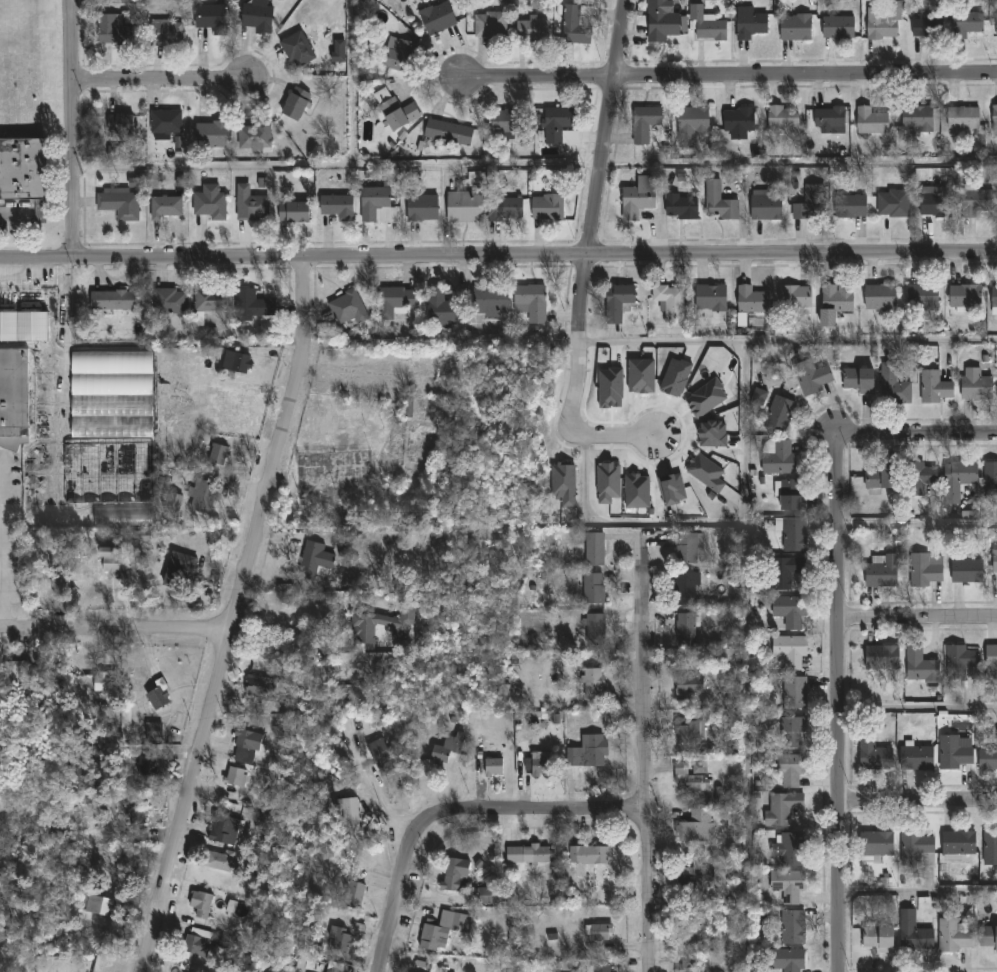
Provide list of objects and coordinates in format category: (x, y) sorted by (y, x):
building: (128, 1)
building: (256, 18)
building: (436, 18)
building: (210, 20)
building: (660, 21)
building: (883, 22)
building: (748, 24)
building: (966, 24)
building: (576, 25)
building: (996, 25)
building: (489, 26)
building: (705, 26)
building: (794, 28)
building: (925, 28)
building: (837, 29)
building: (531, 31)
building: (113, 32)
building: (165, 34)
building: (296, 51)
building: (398, 56)
road: (728, 77)
road: (162, 86)
building: (294, 105)
building: (394, 111)
building: (782, 118)
building: (917, 119)
building: (962, 119)
building: (829, 121)
building: (993, 121)
building: (507, 122)
building: (870, 122)
building: (738, 123)
building: (165, 124)
building: (646, 125)
building: (119, 126)
building: (690, 126)
road: (75, 127)
building: (559, 127)
building: (447, 133)
building: (209, 136)
building: (253, 138)
building: (117, 153)
building: (22, 169)
building: (180, 182)
building: (135, 183)
building: (637, 198)
building: (209, 203)
building: (718, 203)
building: (976, 203)
building: (119, 204)
building: (810, 204)
building: (892, 204)
building: (249, 205)
building: (935, 205)
building: (376, 206)
building: (765, 206)
building: (850, 206)
building: (546, 207)
building: (678, 207)
building: (165, 208)
building: (336, 208)
building: (463, 208)
building: (421, 209)
building: (504, 210)
building: (292, 213)
road: (498, 252)
road: (586, 257)
building: (794, 297)
building: (879, 297)
building: (964, 297)
building: (993, 297)
building: (921, 298)
building: (709, 299)
building: (210, 300)
building: (668, 300)
building: (112, 301)
building: (751, 301)
building: (168, 302)
building: (393, 302)
building: (489, 302)
building: (616, 302)
building: (834, 302)
building: (530, 303)
building: (250, 305)
building: (345, 309)
building: (438, 309)
building: (23, 327)
road: (869, 341)
building: (237, 362)
building: (641, 376)
building: (675, 377)
building: (811, 377)
building: (857, 380)
building: (892, 385)
building: (975, 386)
building: (611, 388)
building: (934, 388)
building: (110, 394)
building: (13, 395)
building: (759, 397)
building: (706, 398)
building: (778, 414)
building: (713, 434)
building: (217, 454)
building: (777, 456)
road: (745, 471)
building: (706, 472)
building: (107, 473)
building: (921, 477)
building: (880, 478)
building: (957, 479)
building: (990, 479)
building: (608, 483)
building: (563, 484)
building: (672, 489)
building: (637, 491)
building: (790, 495)
building: (203, 496)
building: (173, 501)
building: (121, 517)
road: (917, 523)
building: (793, 535)
building: (142, 537)
road: (4, 547)
building: (688, 549)
building: (593, 550)
building: (113, 560)
building: (316, 560)
building: (994, 561)
building: (925, 570)
building: (178, 571)
building: (880, 571)
building: (965, 571)
building: (784, 572)
building: (592, 589)
building: (685, 589)
building: (789, 612)
road: (234, 614)
building: (383, 621)
road: (917, 621)
road: (837, 629)
building: (594, 630)
building: (685, 631)
road: (114, 633)
road: (289, 634)
building: (787, 652)
building: (881, 658)
building: (958, 661)
building: (990, 666)
building: (919, 667)
building: (16, 671)
building: (101, 682)
building: (592, 685)
building: (688, 688)
building: (260, 689)
building: (156, 691)
building: (795, 694)
road: (917, 707)
building: (111, 717)
building: (154, 731)
building: (688, 732)
building: (791, 733)
building: (247, 741)
building: (445, 749)
building: (587, 752)
building: (872, 753)
building: (953, 754)
building: (378, 755)
road: (643, 757)
building: (915, 758)
building: (987, 758)
building: (539, 764)
building: (144, 767)
building: (492, 767)
building: (789, 772)
building: (690, 776)
building: (234, 777)
road: (917, 803)
building: (781, 809)
road: (456, 815)
building: (350, 817)
building: (136, 826)
building: (695, 827)
building: (223, 831)
building: (875, 844)
building: (957, 844)
building: (990, 845)
building: (916, 846)
building: (791, 850)
building: (528, 856)
building: (589, 856)
building: (218, 863)
building: (454, 876)
building: (697, 880)
building: (787, 887)
road: (918, 891)
building: (351, 896)
building: (486, 896)
building: (199, 905)
building: (97, 907)
building: (792, 928)
building: (599, 932)
building: (438, 933)
building: (688, 933)
building: (912, 933)
building: (951, 936)
building: (988, 938)
building: (877, 940)
building: (338, 941)
building: (191, 951)
building: (787, 960)
building: (686, 967)
building: (605, 970)
building: (326, 971)
building: (329, 971)

